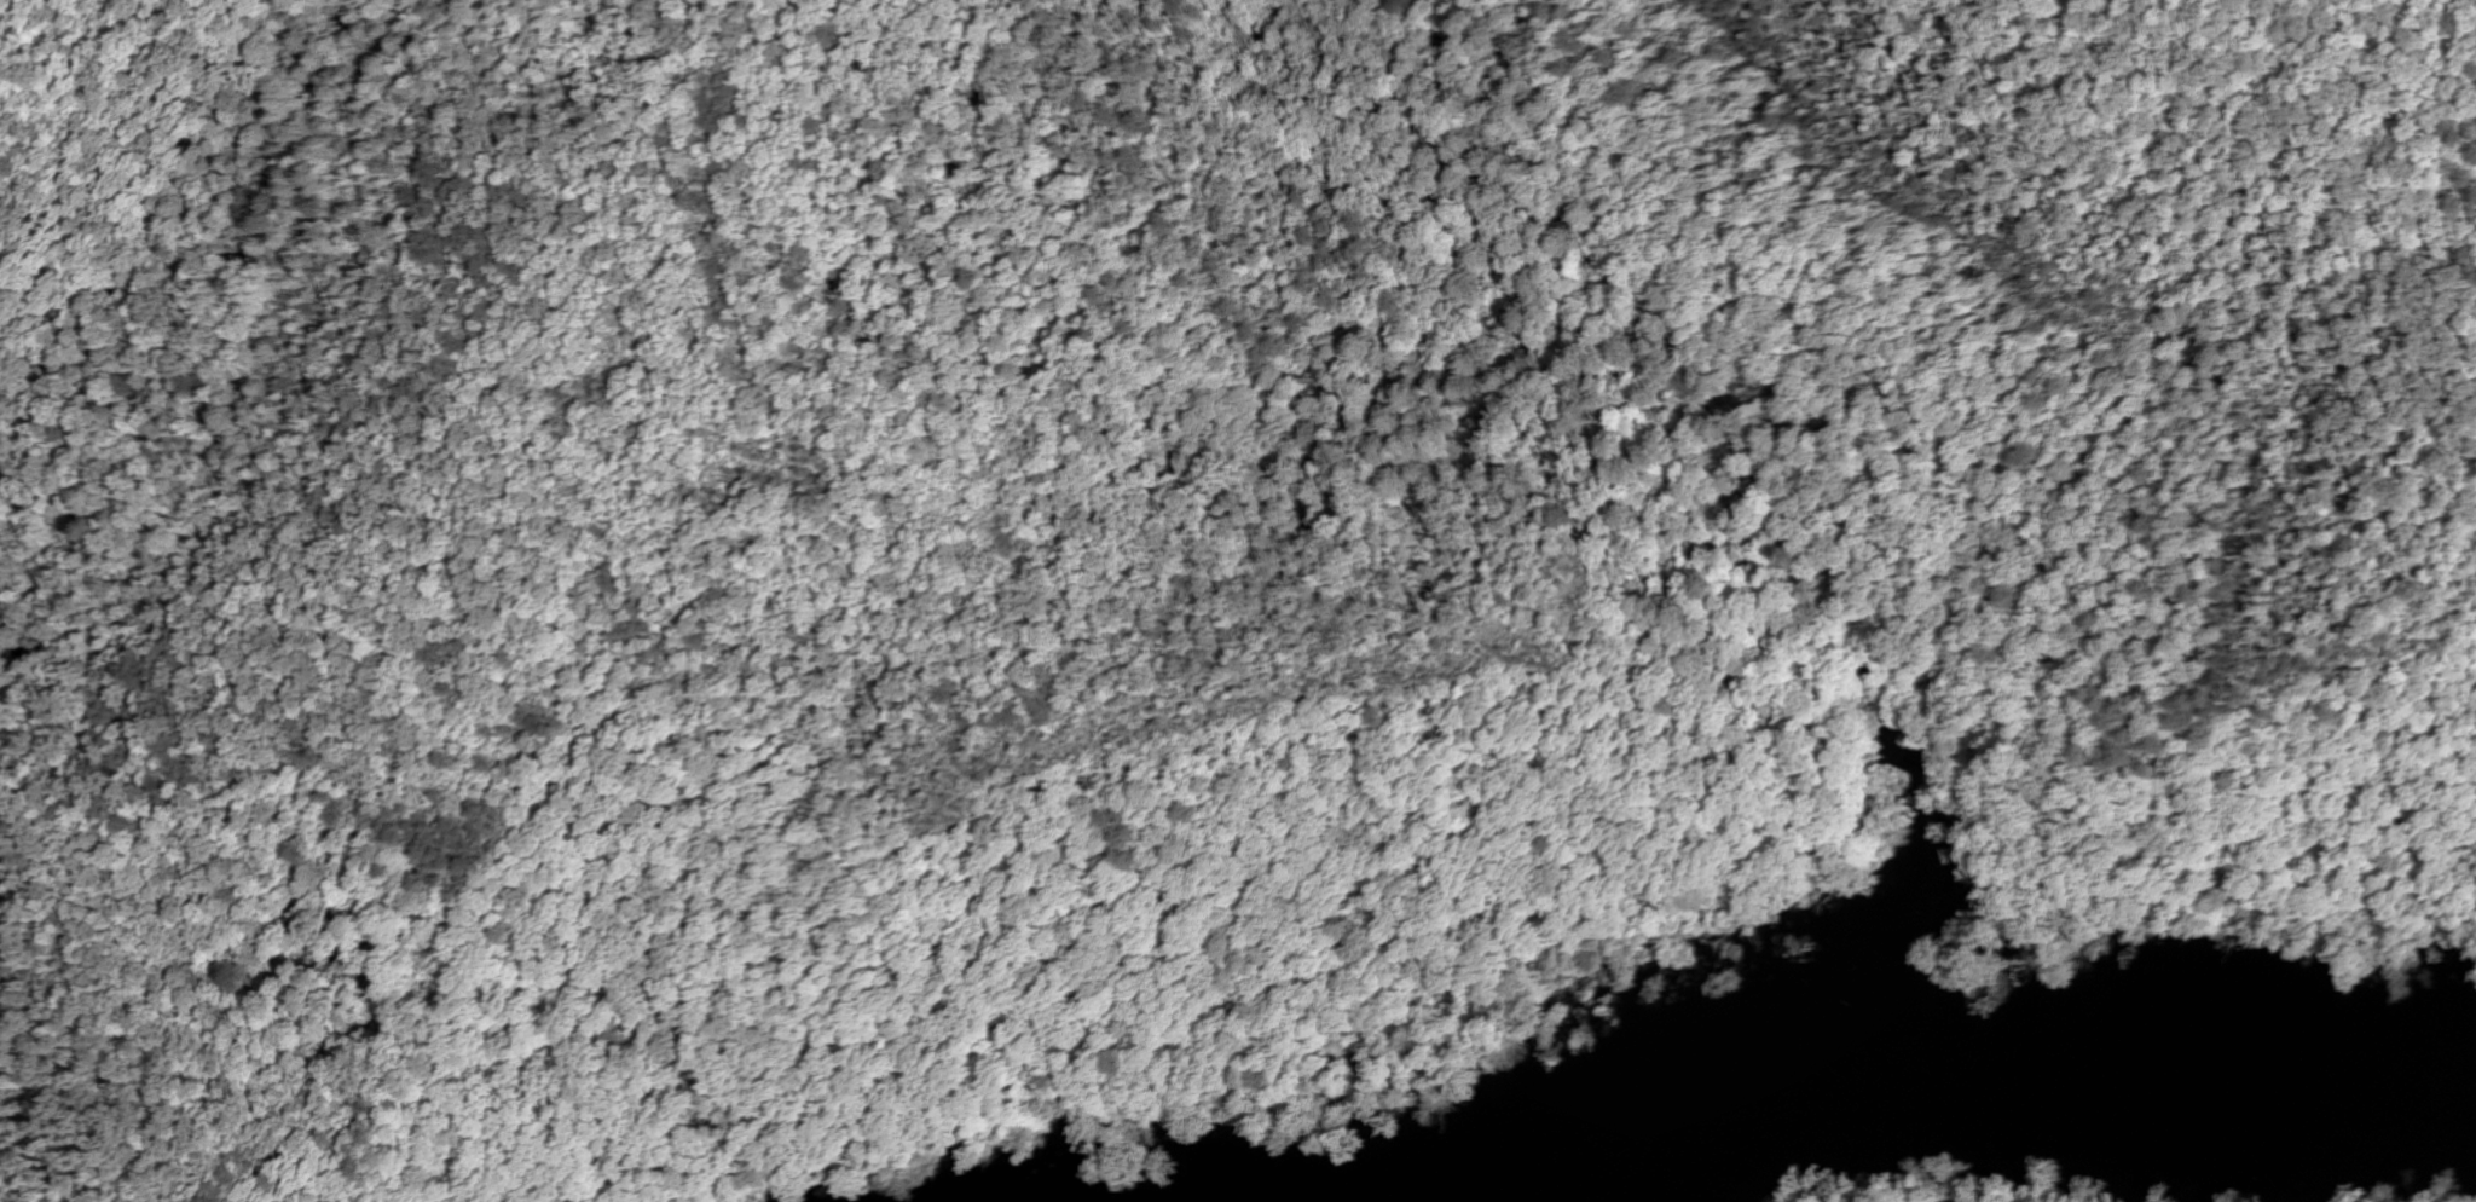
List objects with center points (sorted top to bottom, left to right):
river: (1994, 1094)

